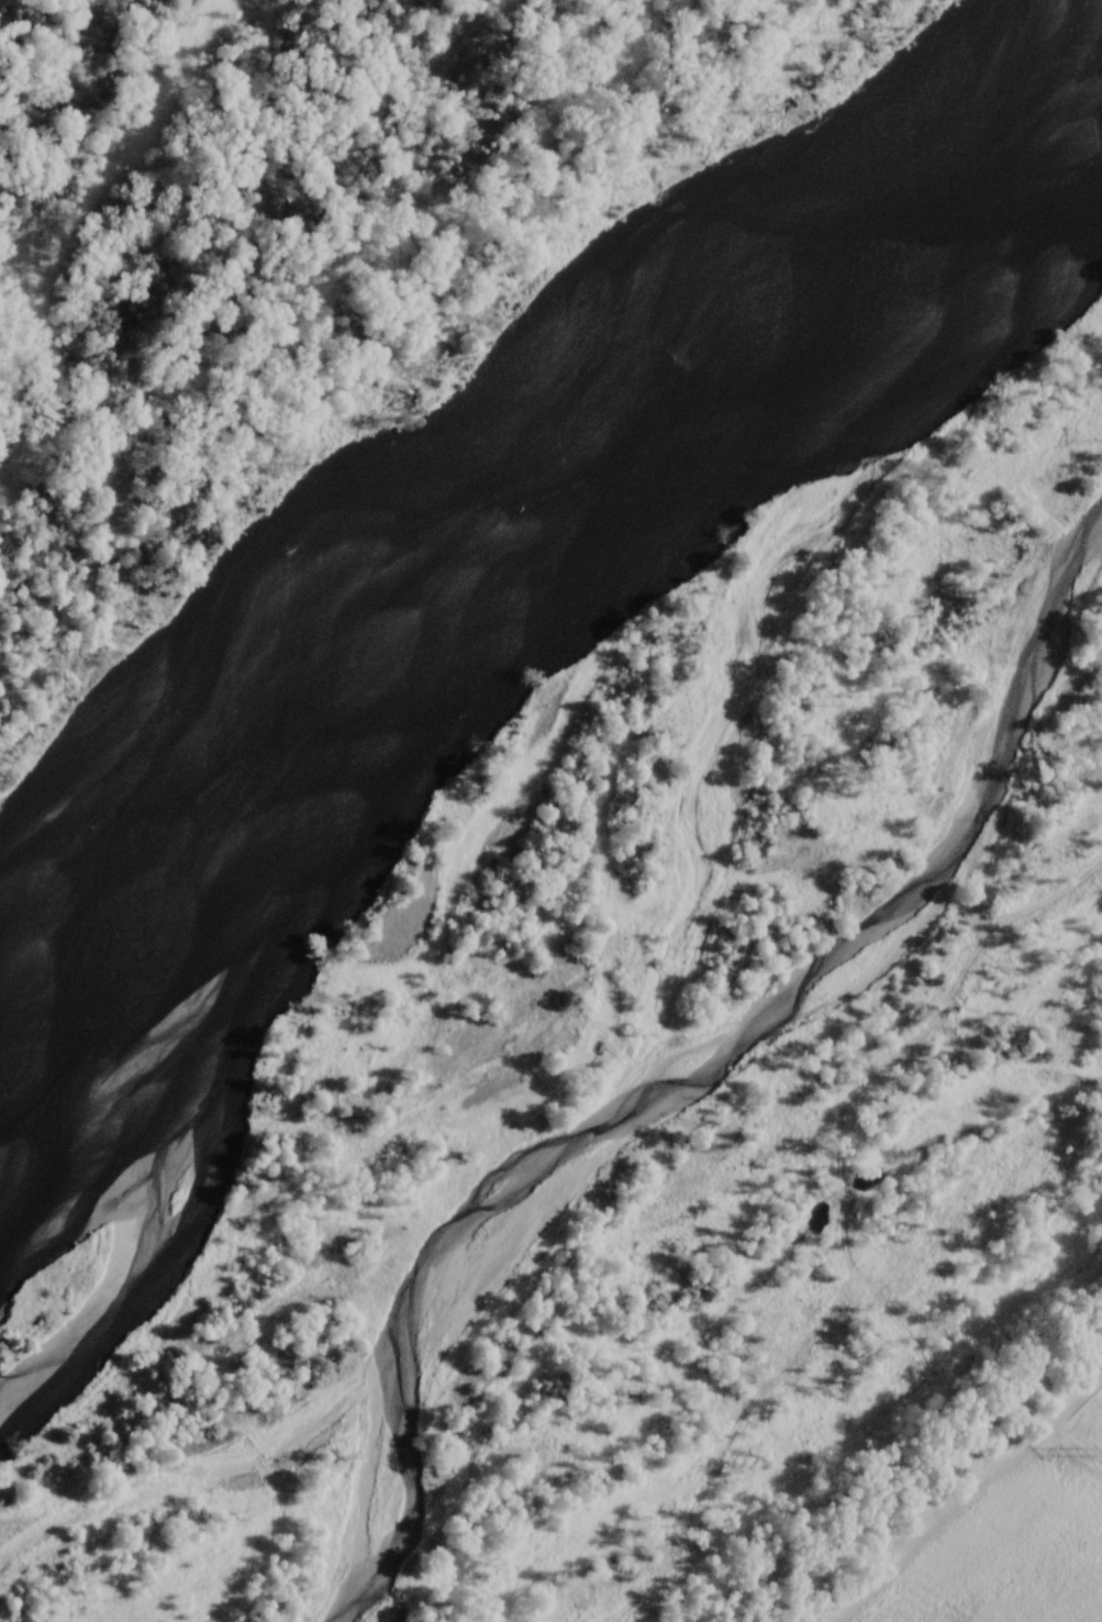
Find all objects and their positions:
river: (520, 570)
power tower: (1082, 1453)

